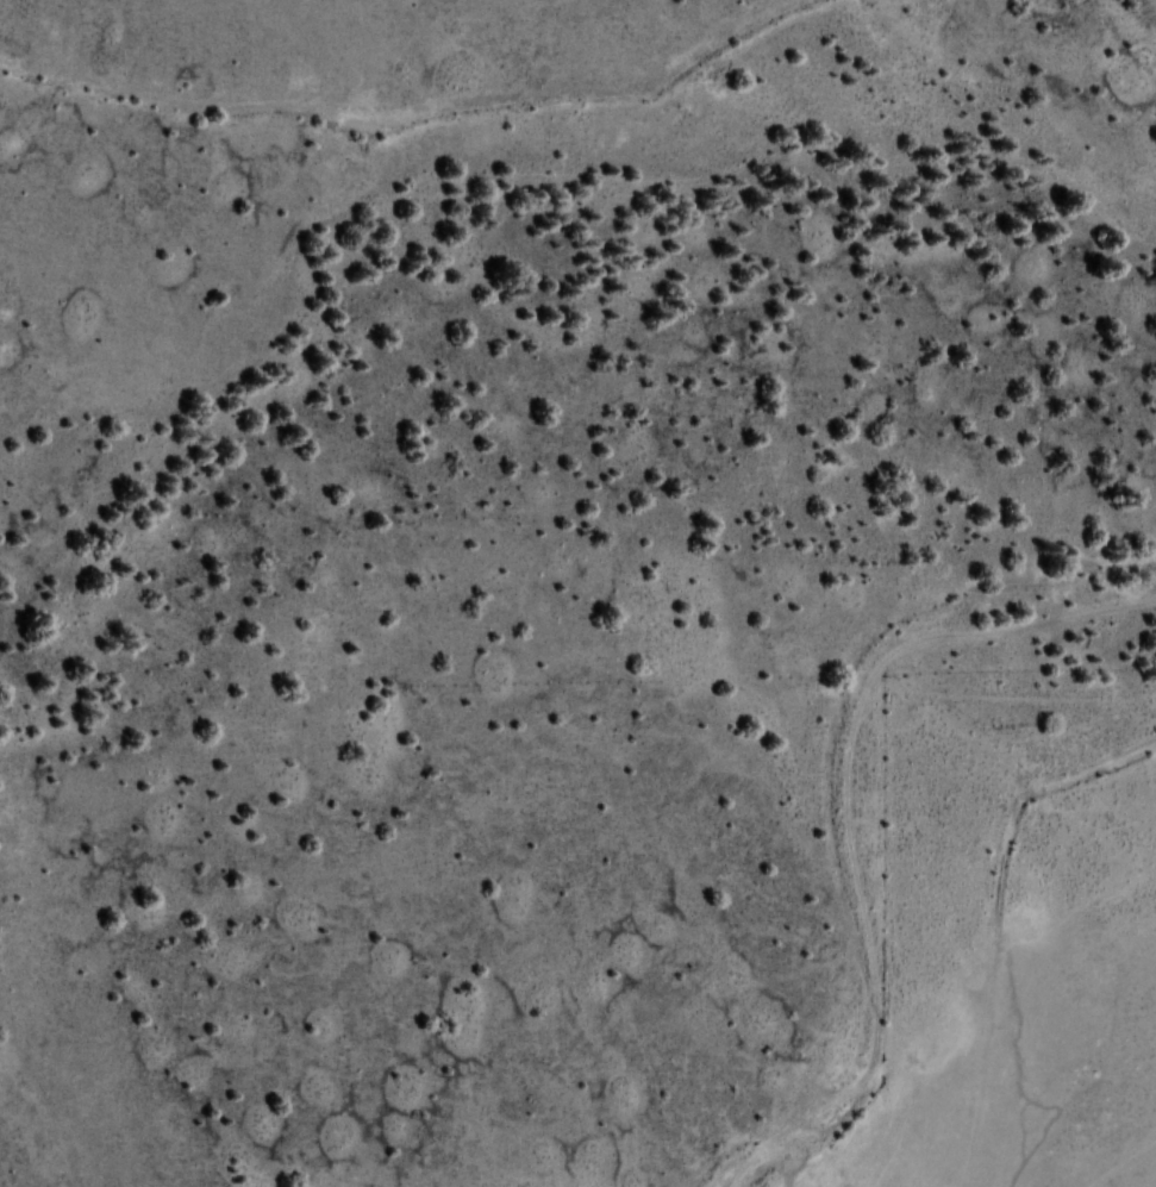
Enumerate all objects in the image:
road: (846, 802)

